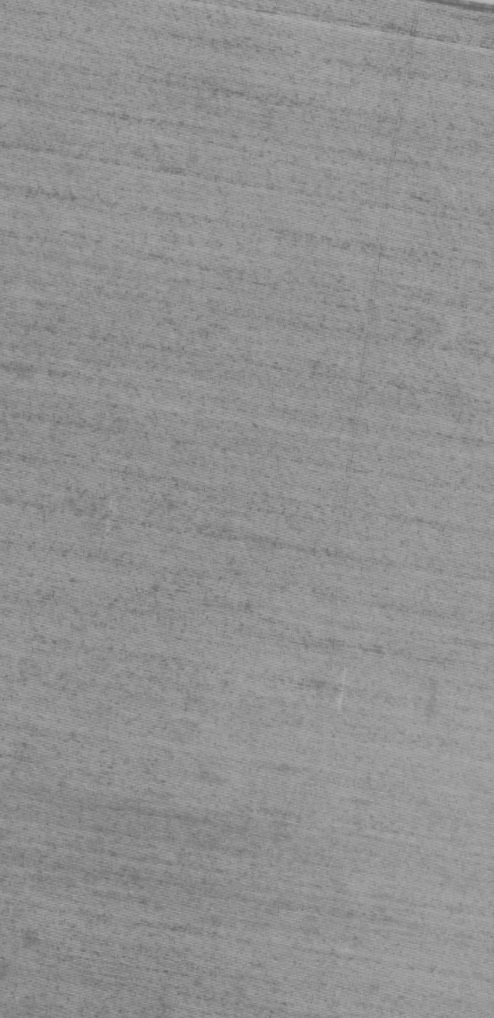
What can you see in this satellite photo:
crop: (246, 509)

